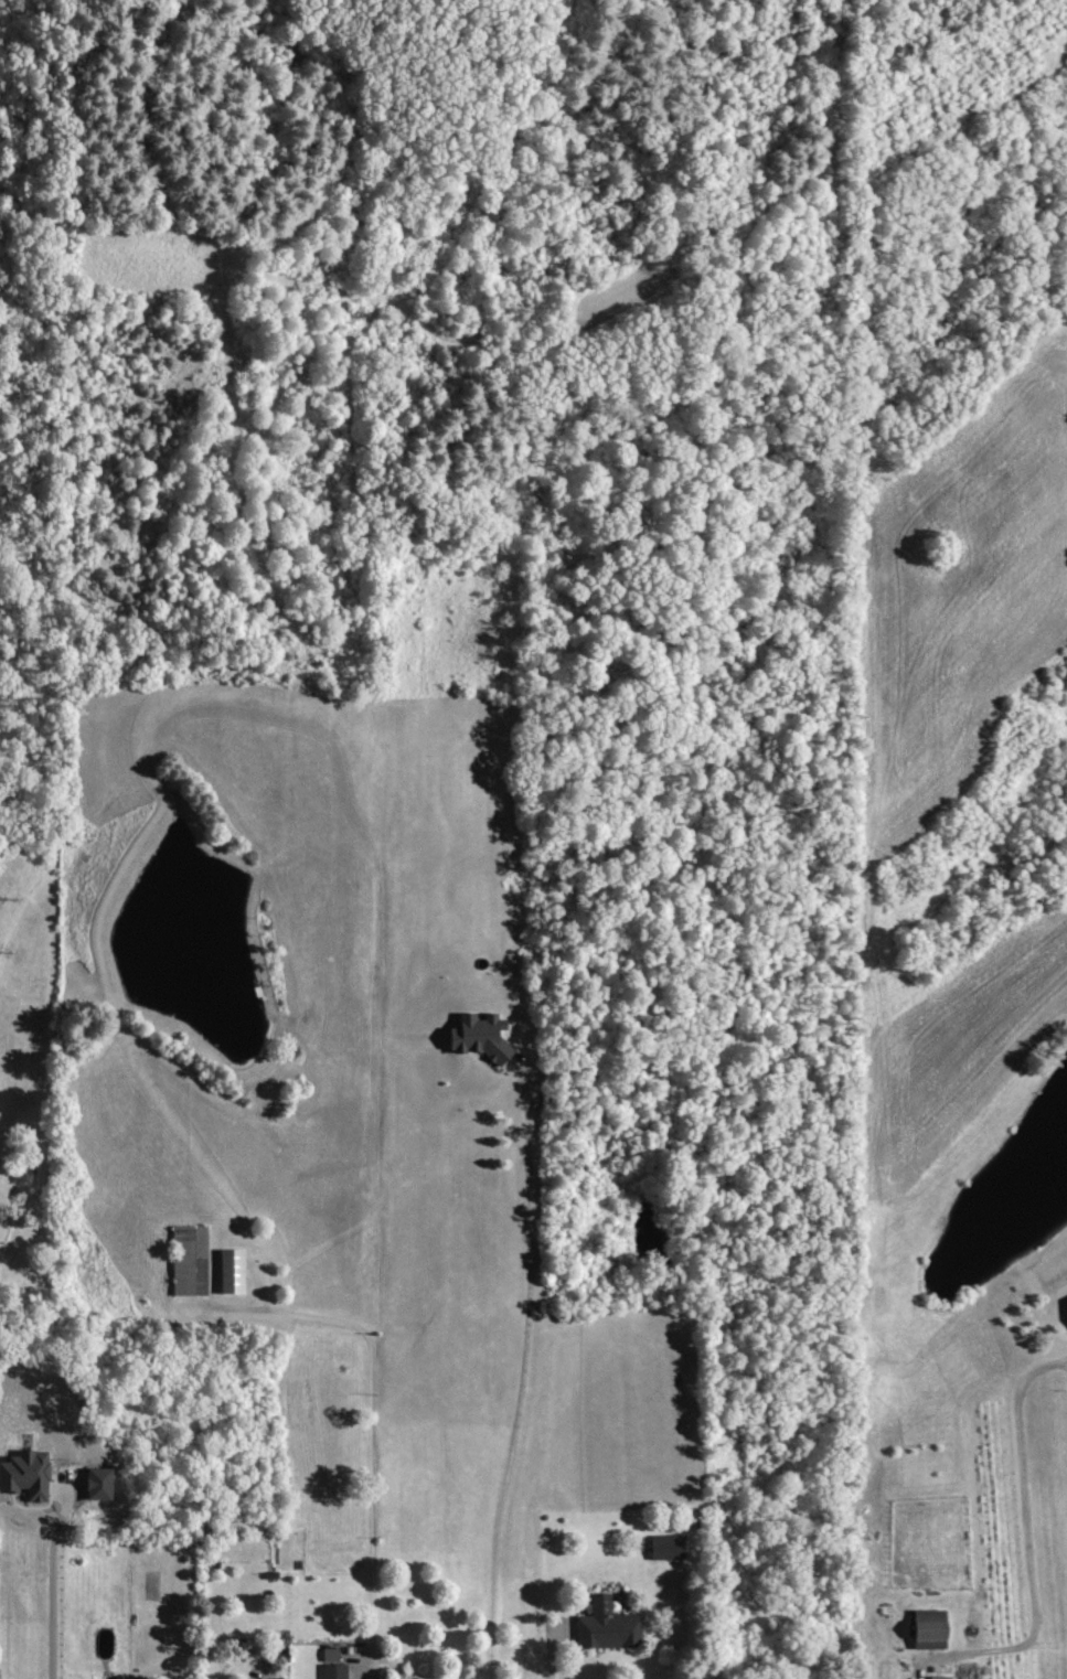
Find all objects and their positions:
building: (471, 1036)
building: (189, 1260)
building: (228, 1271)
building: (1065, 1303)
road: (519, 1383)
road: (371, 1426)
building: (23, 1474)
road: (1024, 1523)
building: (662, 1548)
road: (50, 1583)
building: (604, 1627)
building: (922, 1630)
road: (551, 1648)
building: (330, 1666)
building: (935, 1678)

